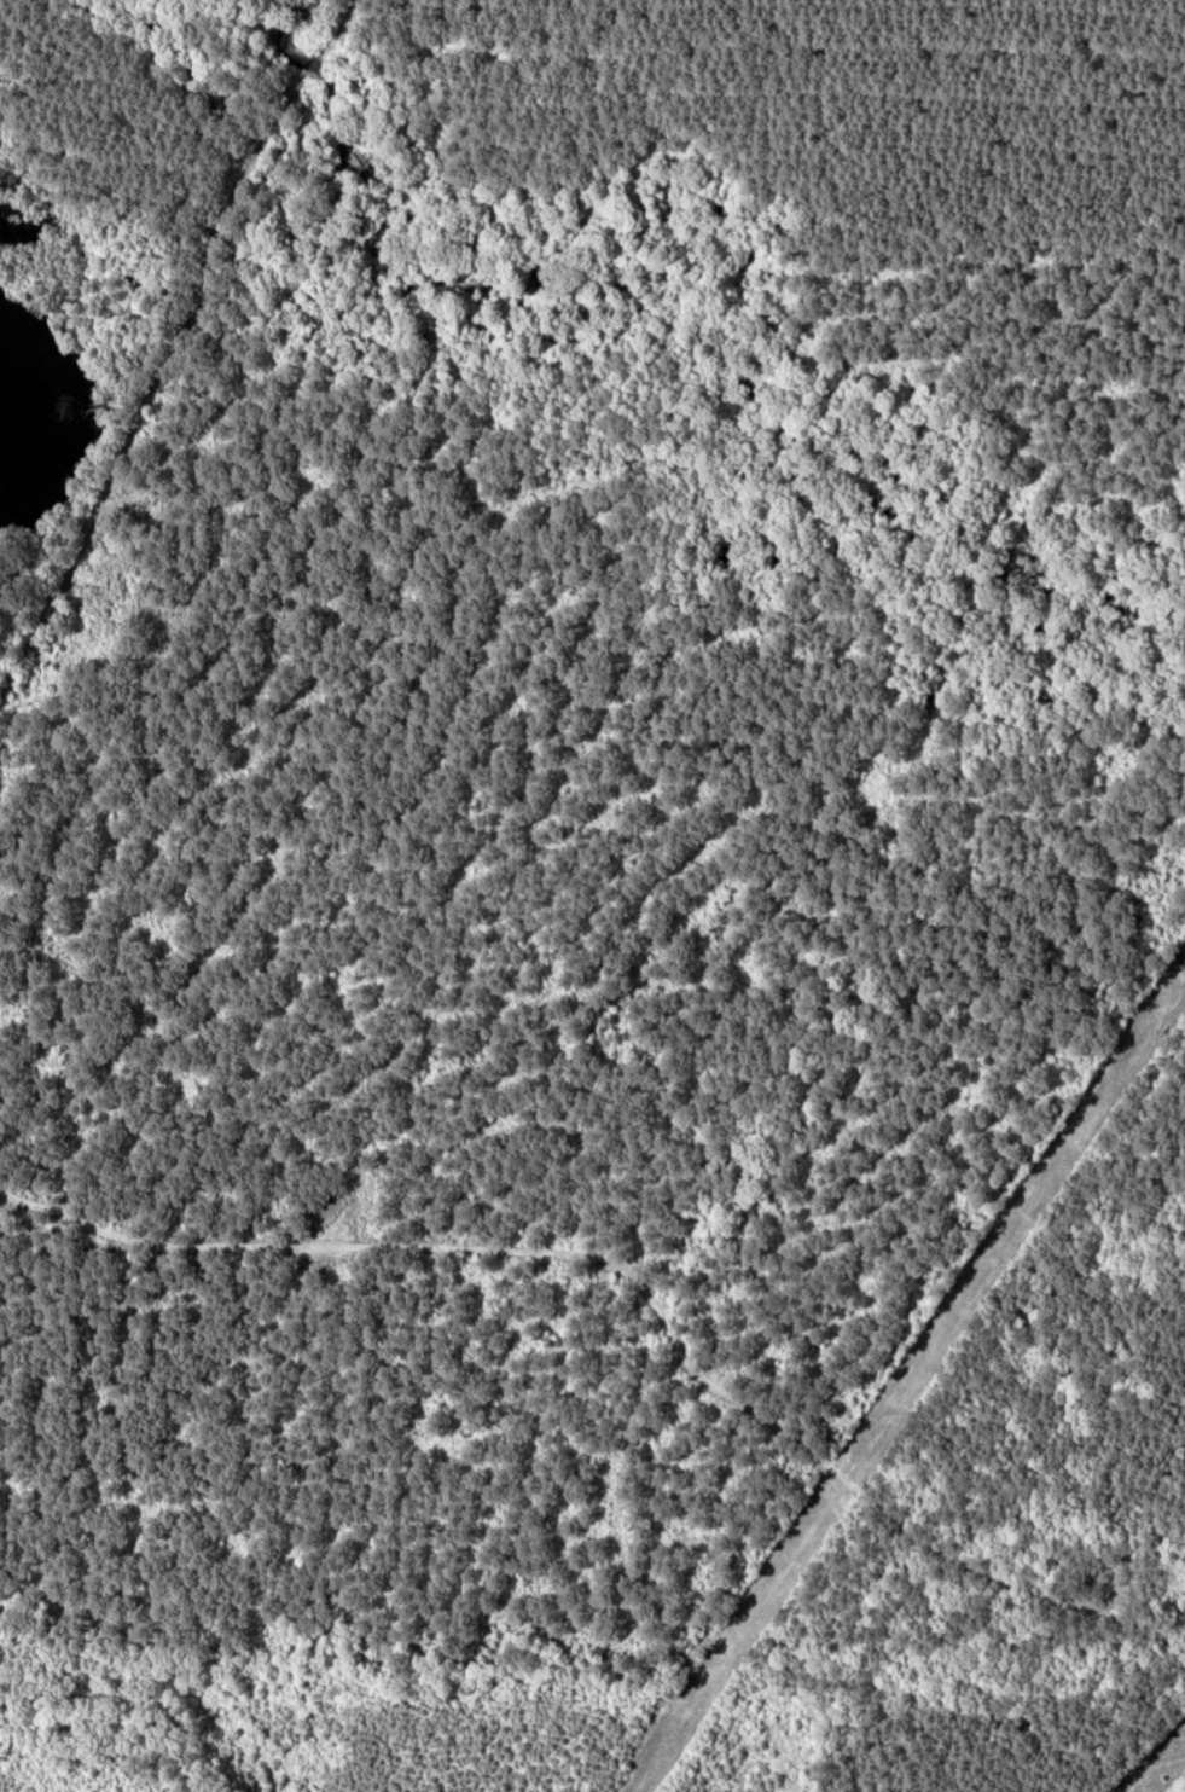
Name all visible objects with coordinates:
road: (8, 626)

